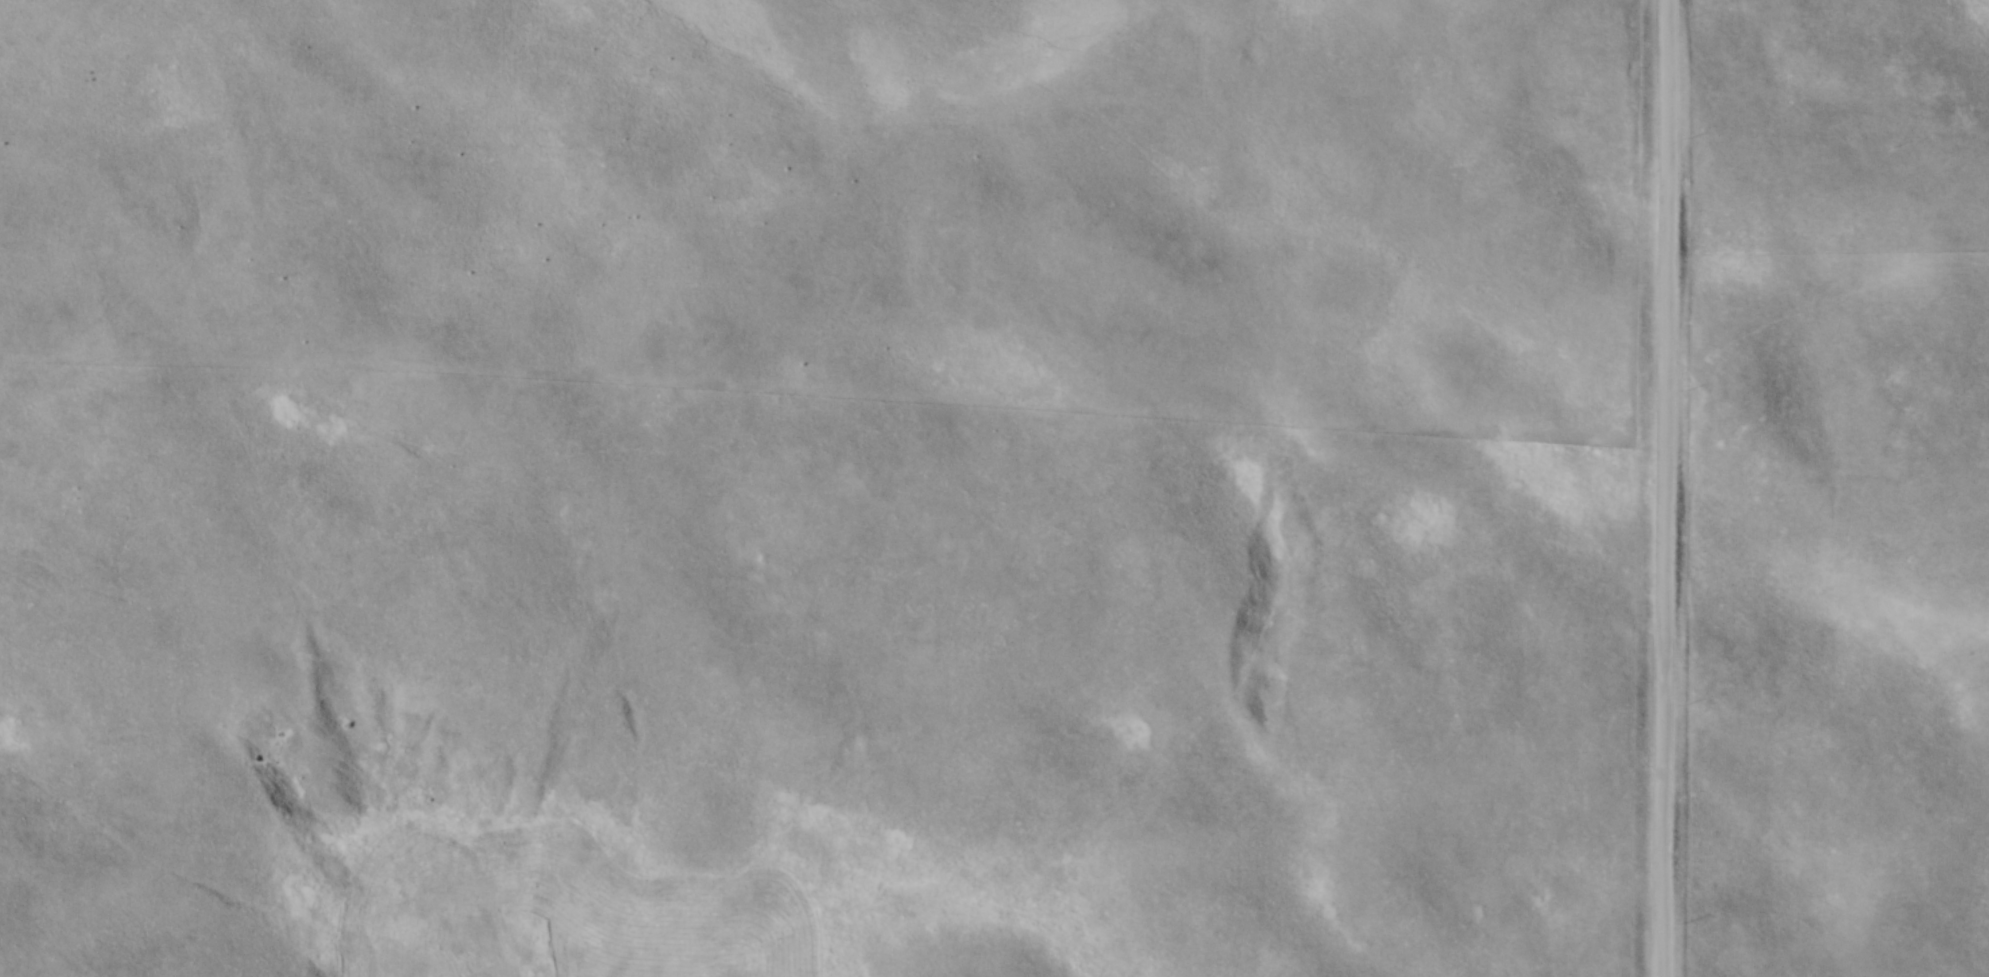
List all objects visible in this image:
road: (1666, 488)

